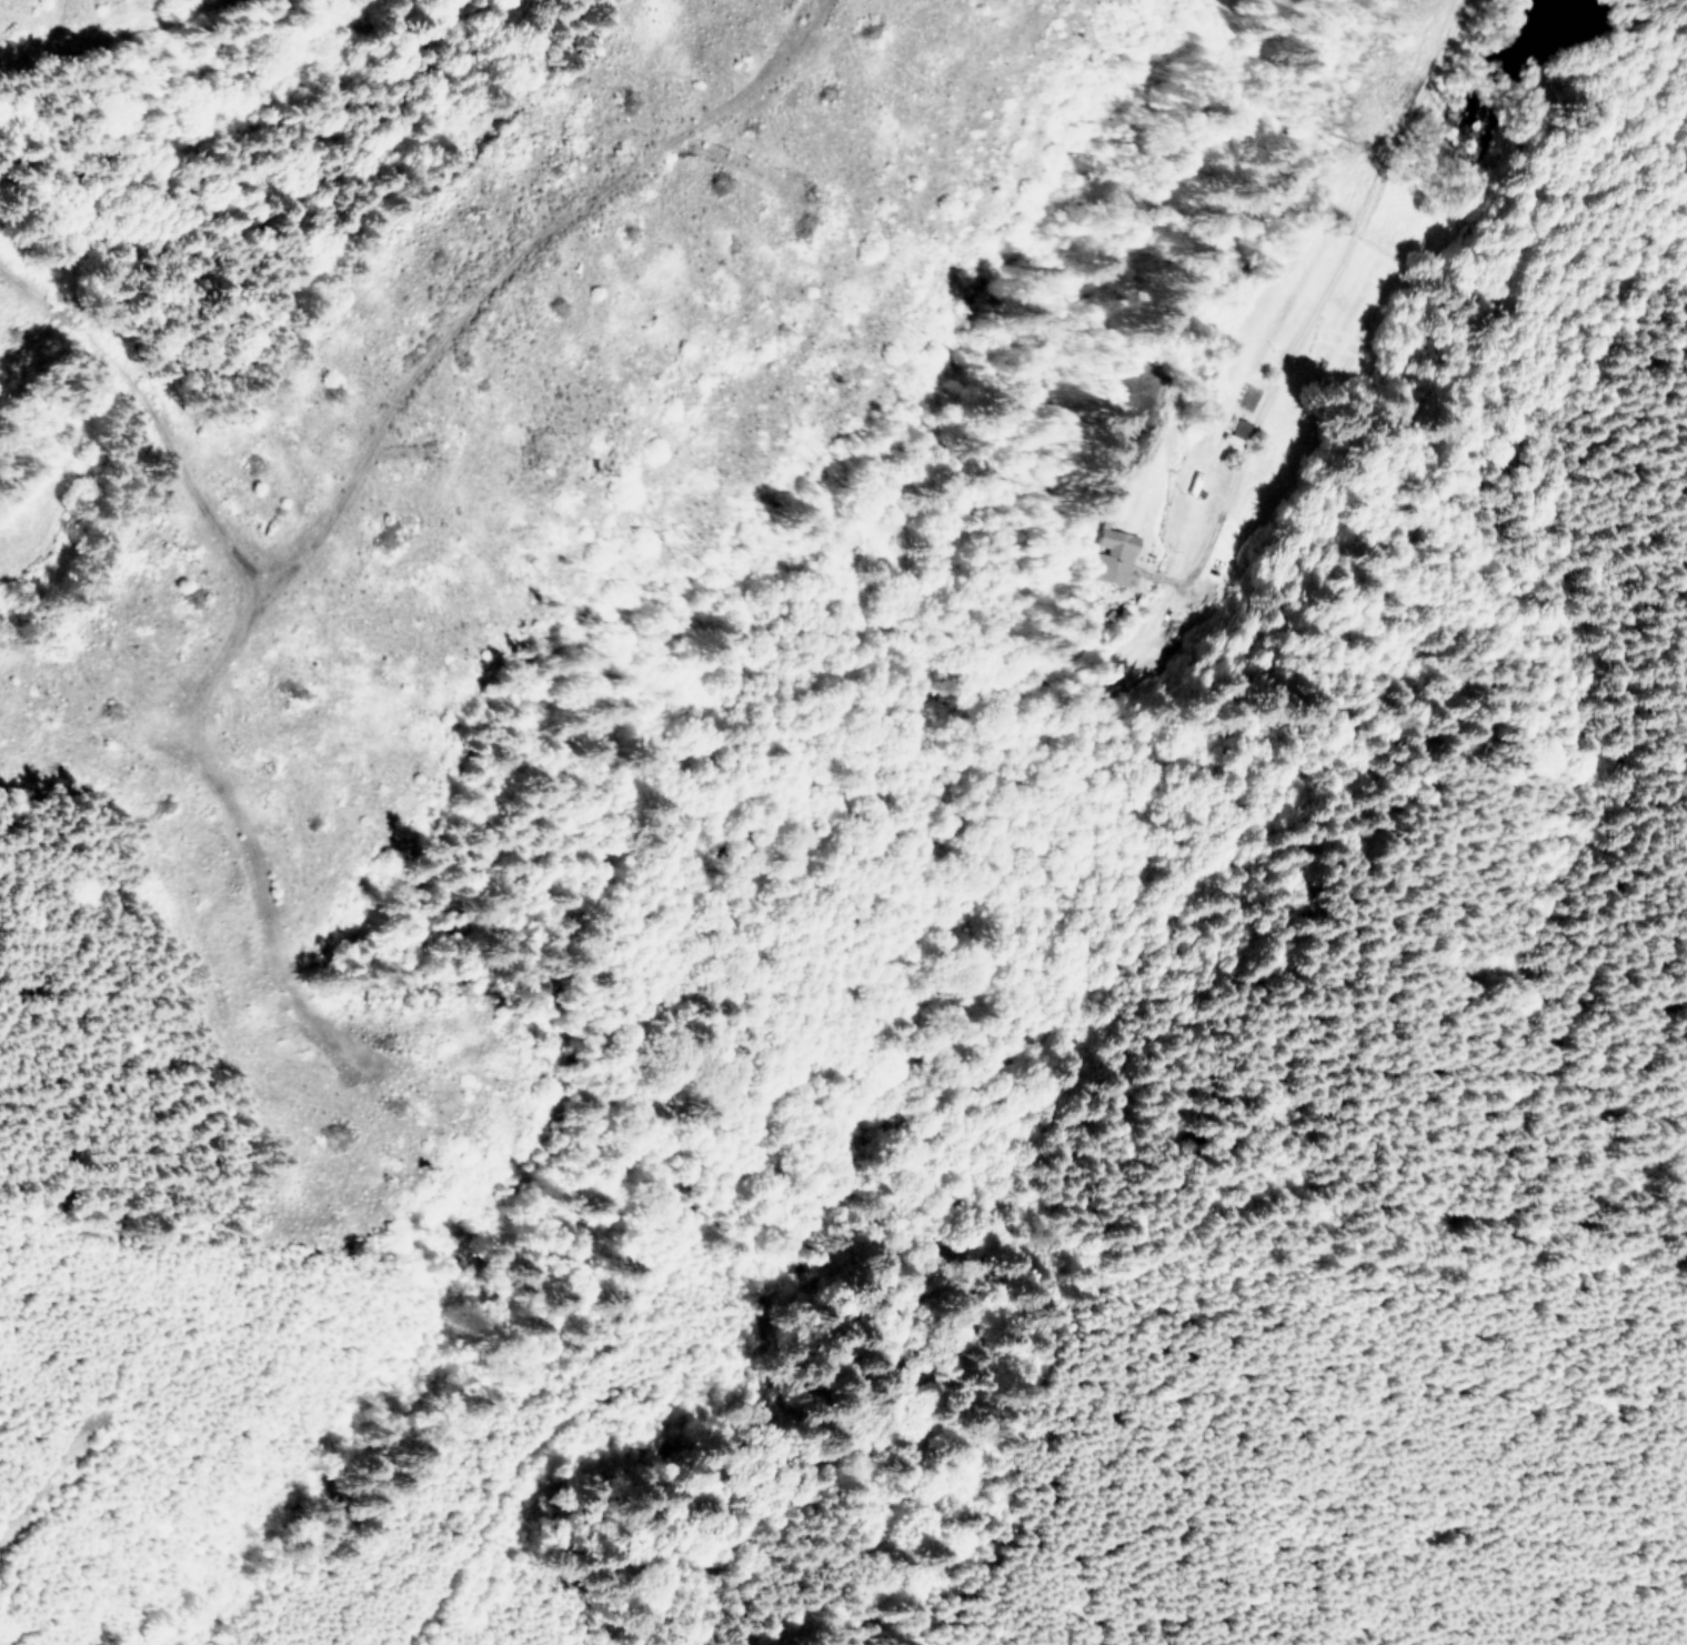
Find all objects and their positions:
road: (1304, 290)

